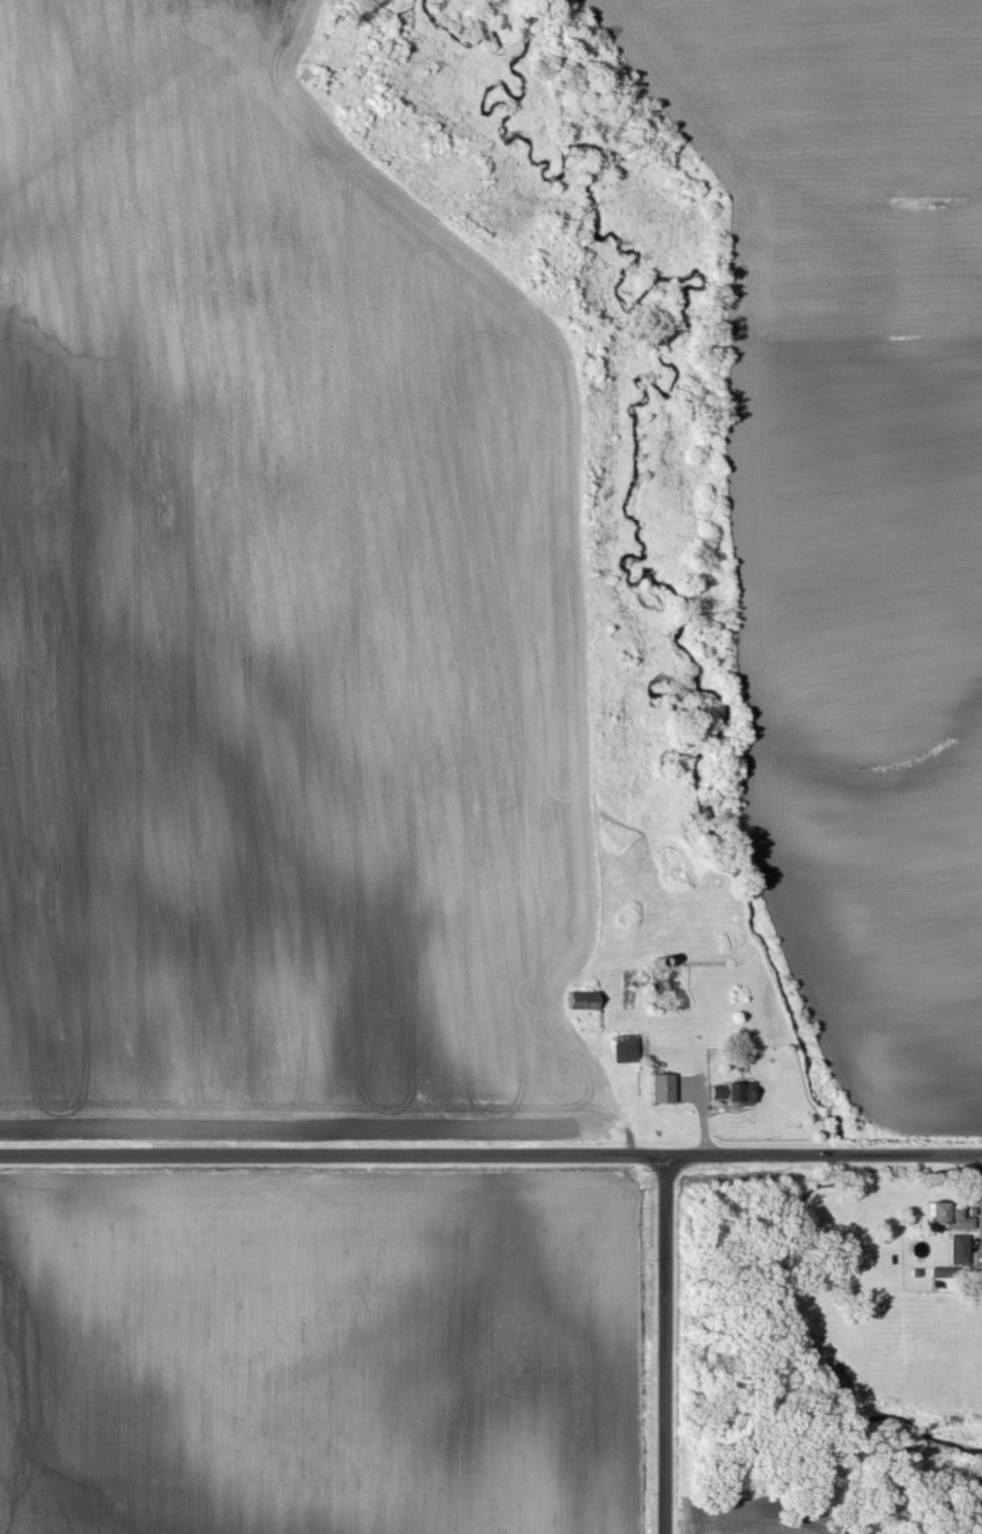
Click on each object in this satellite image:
building: (660, 1081)
road: (703, 1127)
road: (491, 1153)
road: (785, 1182)
road: (663, 1344)

